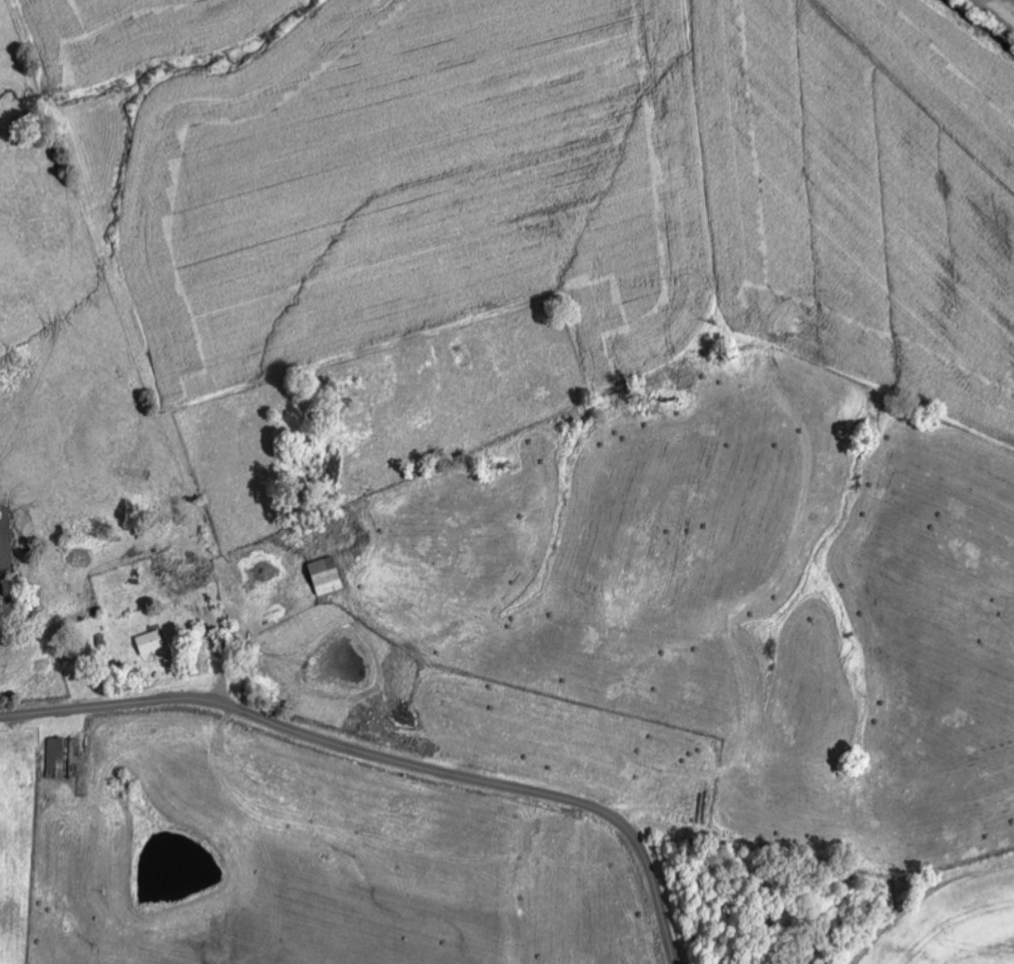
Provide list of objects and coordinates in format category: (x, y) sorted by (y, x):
building: (324, 576)
building: (150, 643)
building: (56, 755)
road: (385, 758)

